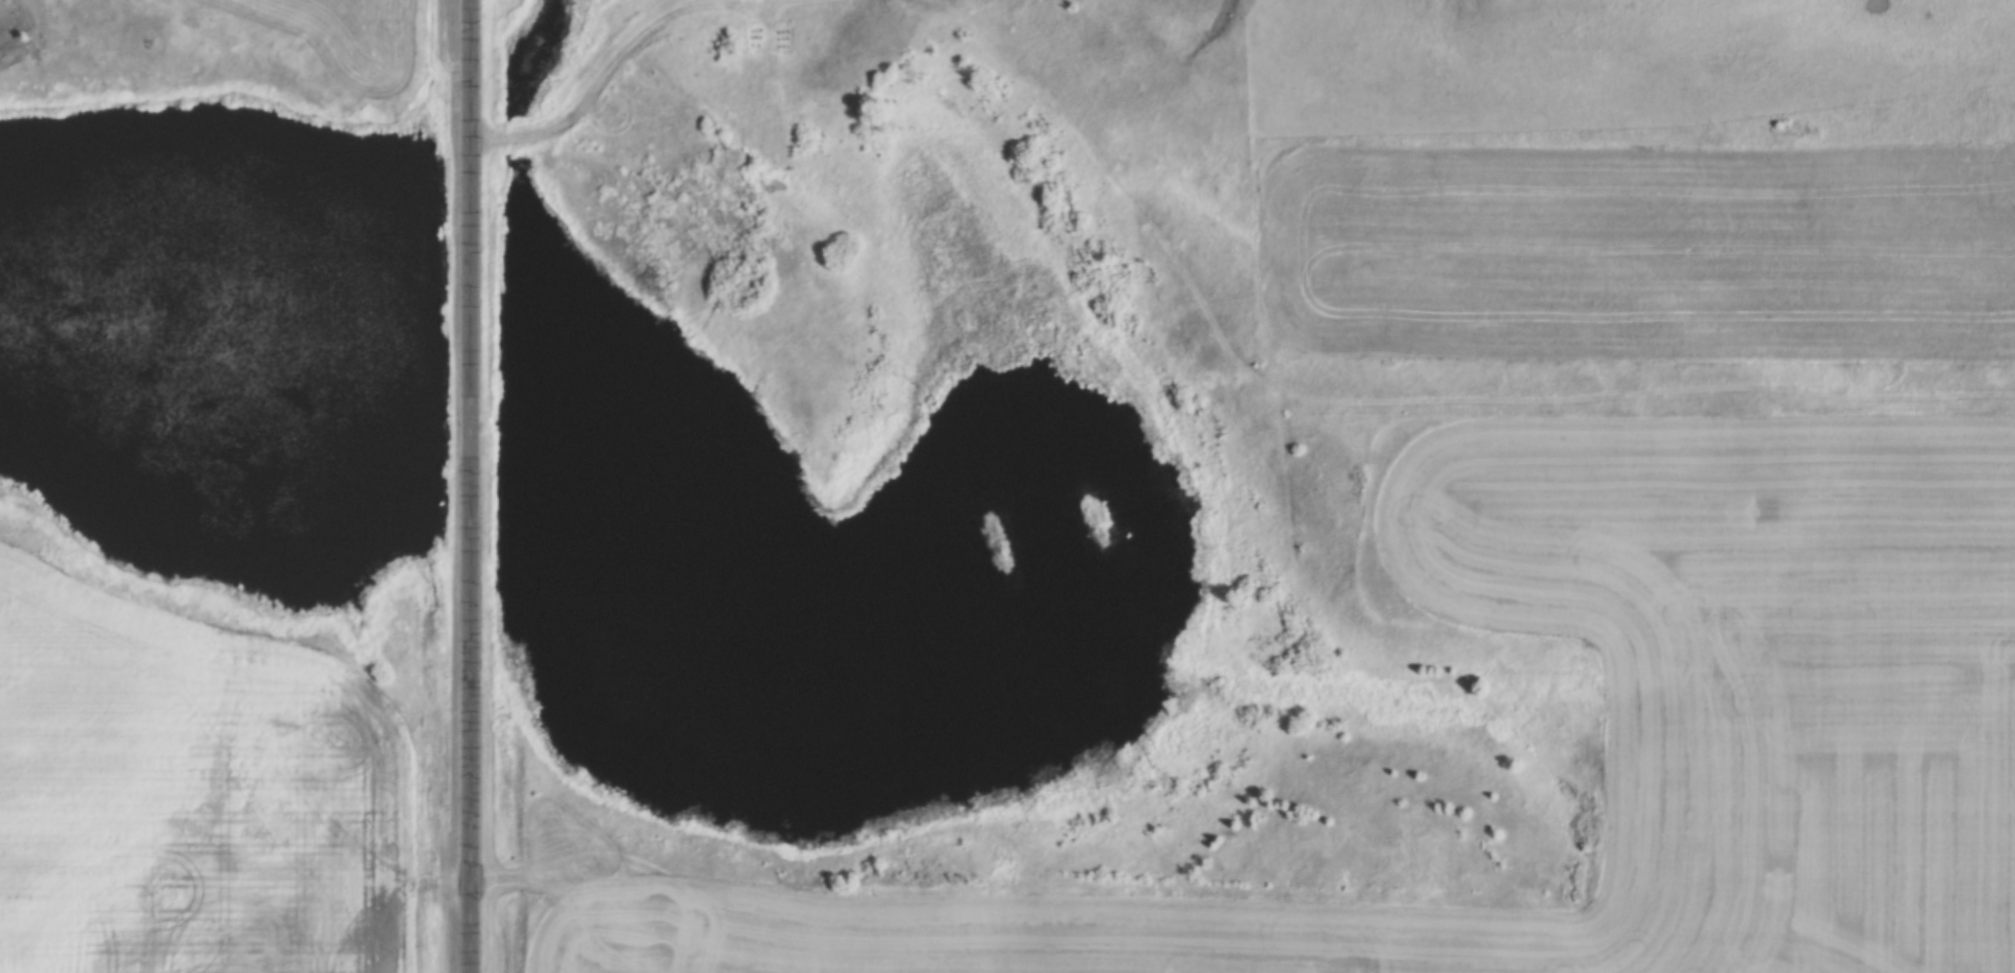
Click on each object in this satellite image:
road: (590, 93)
road: (1386, 398)
road: (470, 486)

